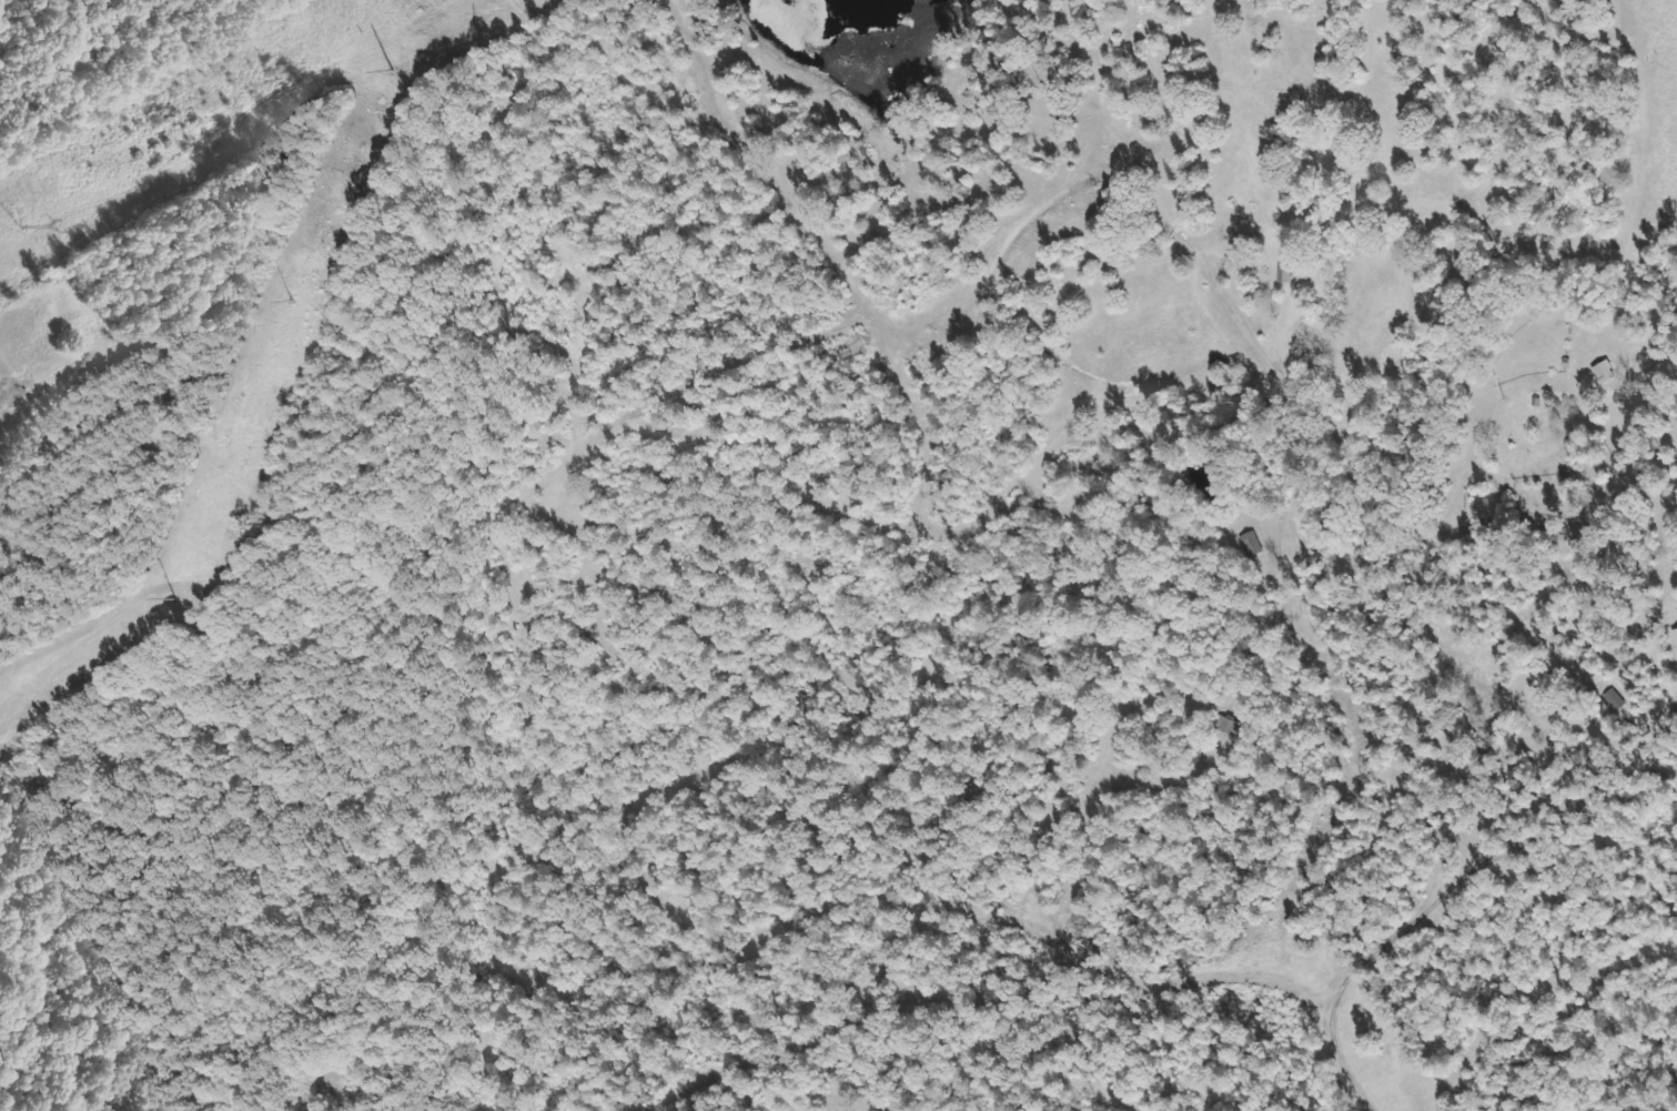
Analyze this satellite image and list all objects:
power tower: (18, 225)
road: (1333, 619)
building: (1675, 643)

